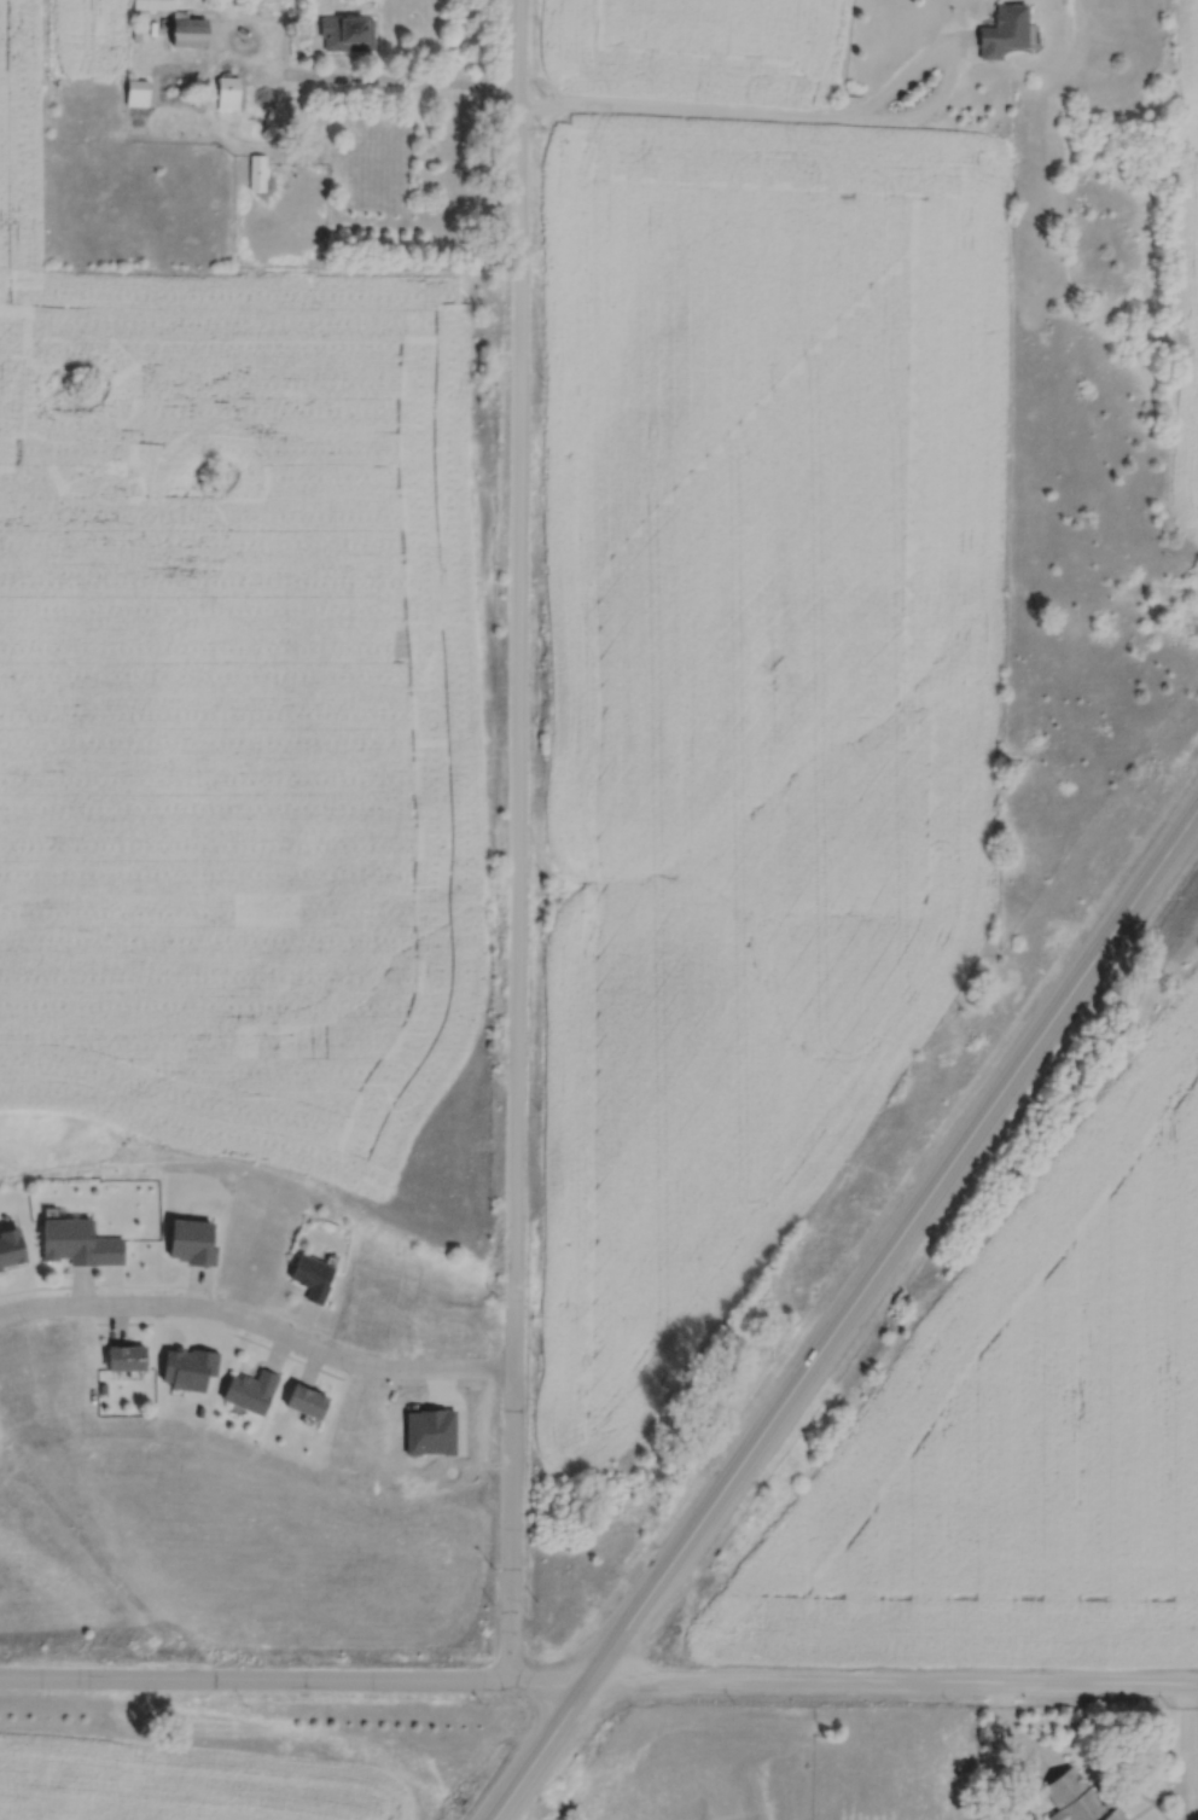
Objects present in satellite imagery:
building: (144, 4)
building: (1006, 31)
building: (191, 33)
building: (349, 35)
road: (366, 83)
building: (139, 94)
building: (229, 94)
road: (812, 123)
building: (260, 173)
road: (510, 839)
building: (70, 1244)
building: (313, 1275)
road: (845, 1314)
road: (260, 1324)
building: (128, 1360)
building: (251, 1390)
building: (308, 1401)
building: (430, 1431)
road: (295, 1680)
road: (894, 1686)
building: (1077, 1799)

